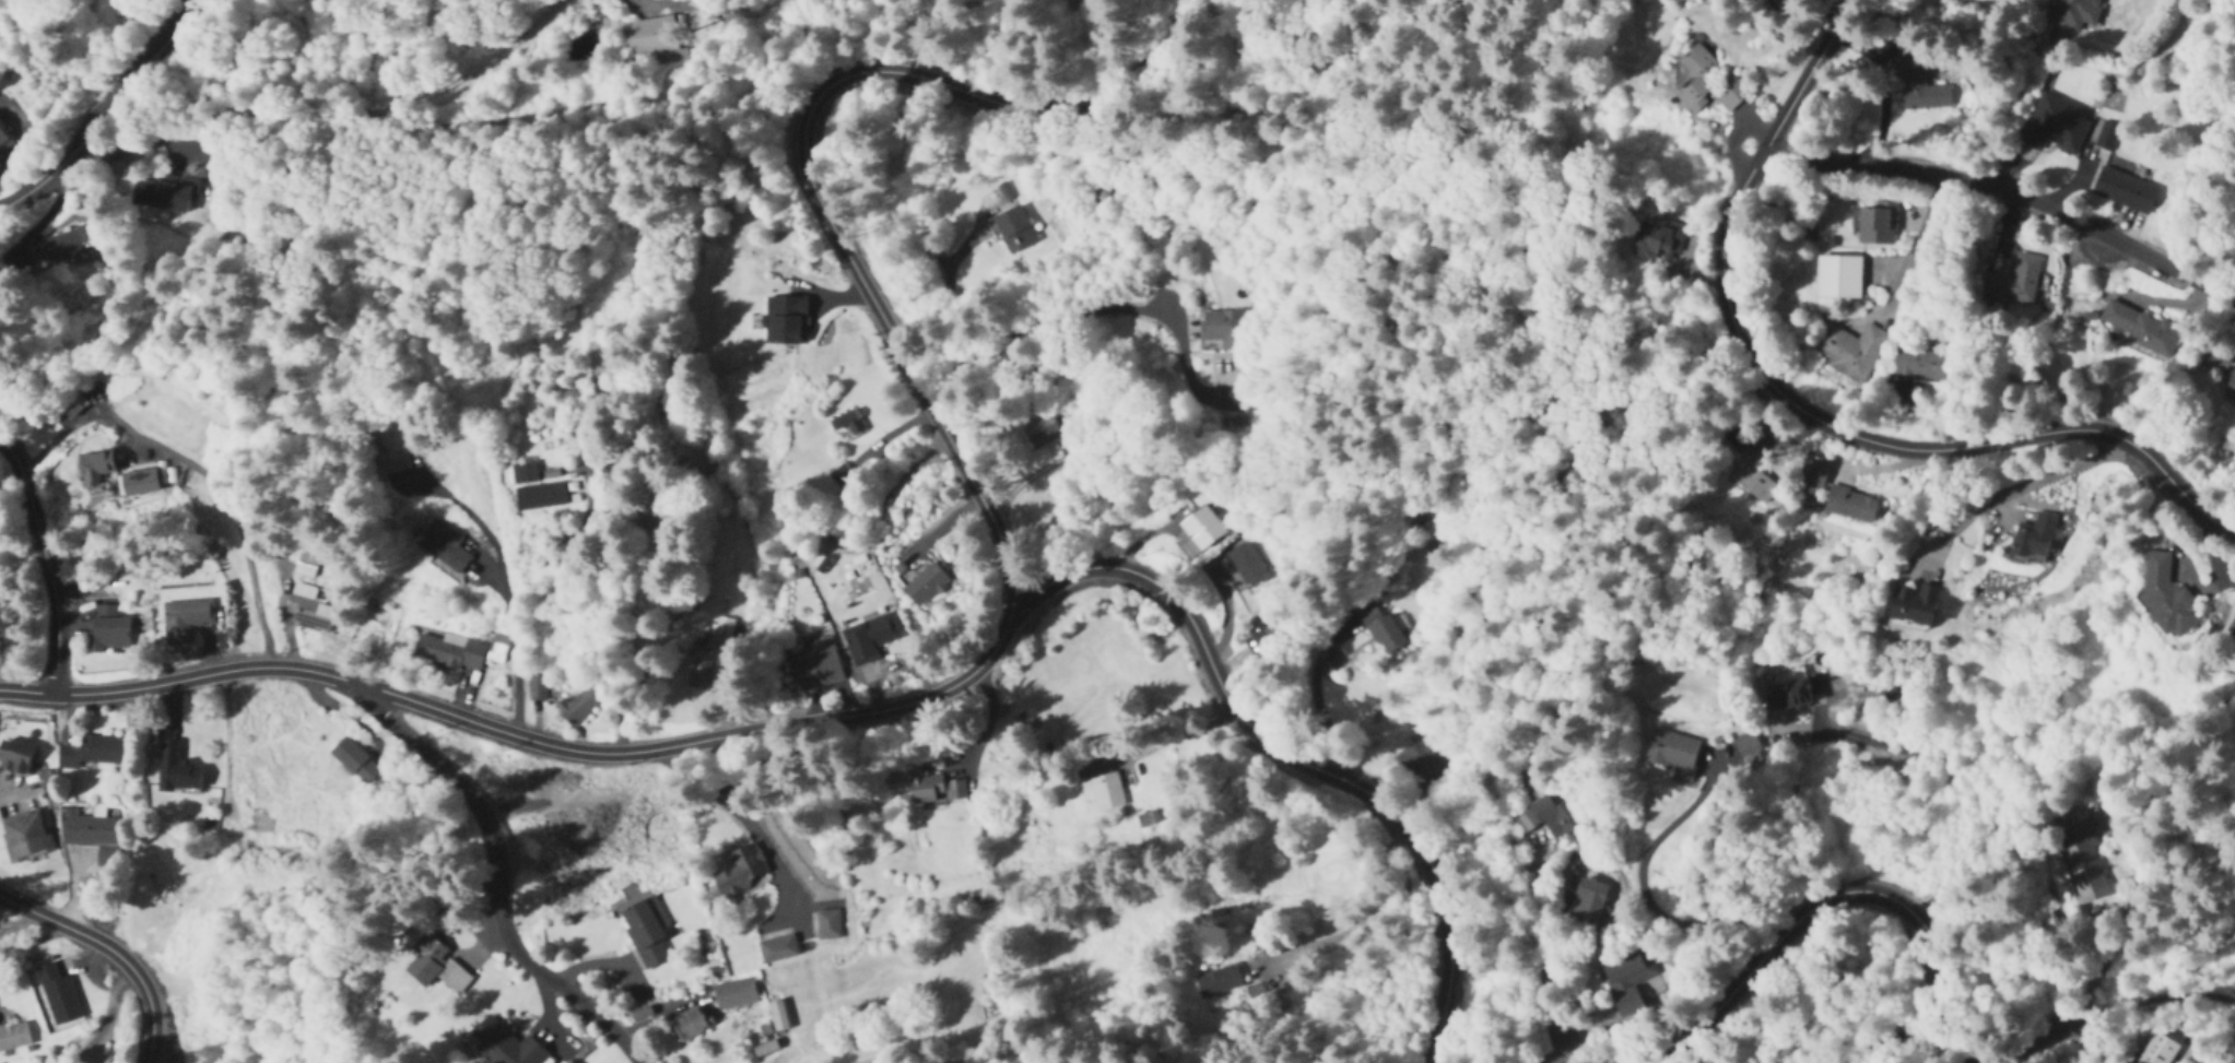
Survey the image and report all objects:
building: (2072, 14)
building: (654, 38)
building: (1707, 84)
building: (1919, 88)
road: (105, 113)
building: (2055, 126)
building: (2106, 138)
building: (3, 142)
road: (808, 168)
building: (2125, 191)
road: (2008, 193)
building: (161, 194)
building: (1877, 224)
building: (1013, 231)
road: (1916, 243)
building: (1656, 244)
building: (61, 248)
building: (1838, 279)
building: (2014, 283)
road: (1069, 319)
building: (1224, 329)
building: (2139, 330)
building: (1850, 352)
building: (2215, 361)
building: (1919, 365)
building: (2230, 389)
road: (1803, 411)
building: (847, 425)
building: (1040, 433)
building: (388, 457)
building: (94, 468)
road: (197, 471)
building: (524, 473)
building: (1811, 473)
building: (840, 476)
building: (1748, 483)
road: (2012, 488)
building: (540, 496)
building: (1850, 505)
building: (1202, 528)
building: (2035, 539)
building: (443, 545)
road: (2211, 545)
road: (44, 562)
building: (307, 564)
building: (926, 584)
road: (503, 590)
building: (2165, 600)
building: (1914, 606)
building: (308, 609)
building: (189, 613)
building: (722, 628)
building: (2232, 628)
building: (1380, 629)
building: (110, 635)
building: (1262, 636)
building: (869, 638)
building: (451, 653)
building: (816, 664)
building: (699, 673)
building: (1788, 695)
building: (1885, 696)
road: (1318, 700)
building: (577, 707)
road: (1166, 734)
road: (527, 736)
building: (1746, 746)
building: (93, 751)
building: (1671, 752)
building: (14, 755)
road: (1297, 758)
building: (354, 761)
building: (1419, 761)
building: (1103, 781)
building: (936, 788)
road: (744, 814)
building: (1548, 816)
building: (1148, 818)
building: (261, 819)
building: (25, 836)
building: (94, 836)
building: (2079, 854)
building: (741, 872)
road: (496, 878)
road: (1837, 893)
building: (976, 897)
building: (1587, 901)
road: (9, 918)
road: (2, 924)
building: (826, 925)
building: (646, 932)
building: (1259, 937)
building: (777, 949)
road: (111, 952)
building: (436, 966)
road: (87, 973)
building: (1219, 980)
building: (1624, 981)
building: (734, 994)
building: (59, 995)
road: (2154, 996)
road: (103, 1021)
building: (692, 1023)
building: (13, 1037)
road: (2045, 1037)
building: (504, 1044)
building: (765, 1049)
building: (2157, 1049)

